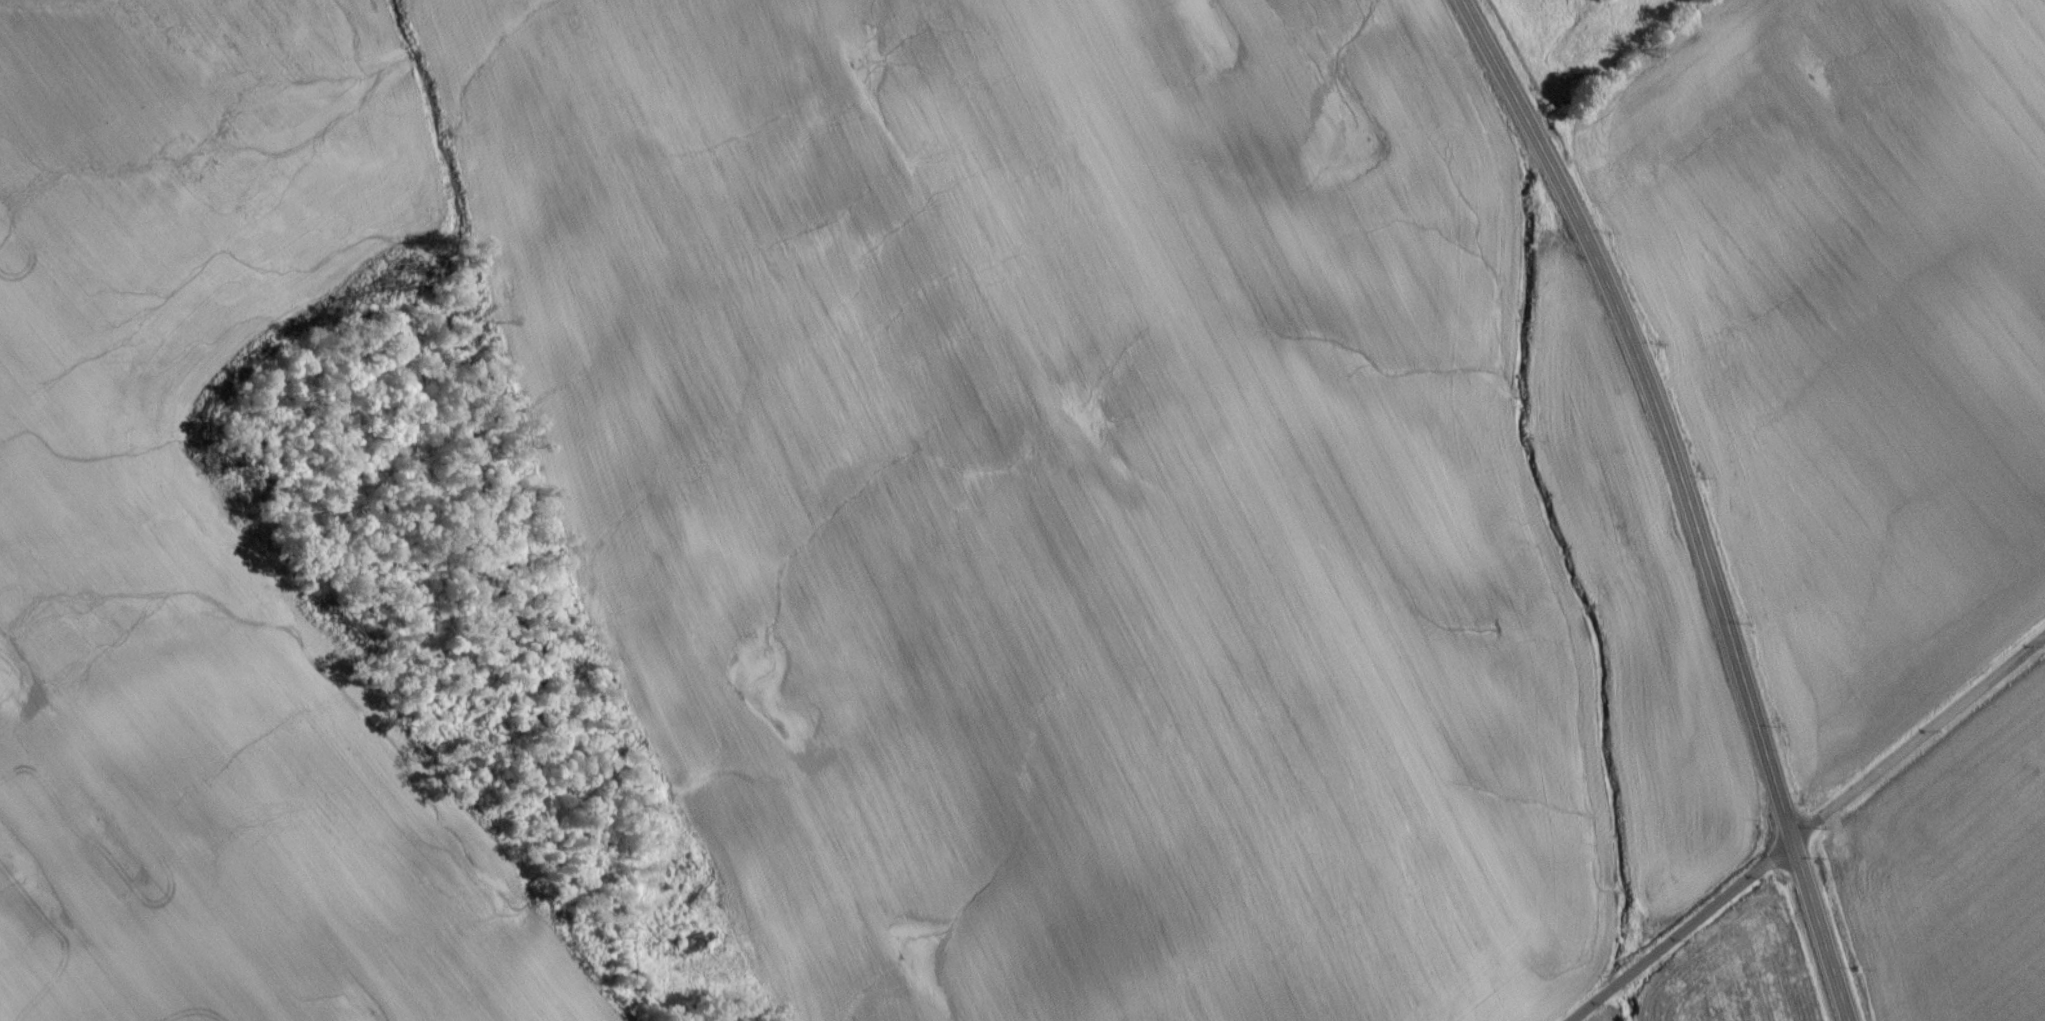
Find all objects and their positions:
road: (1684, 497)
road: (1918, 742)
road: (1681, 933)

